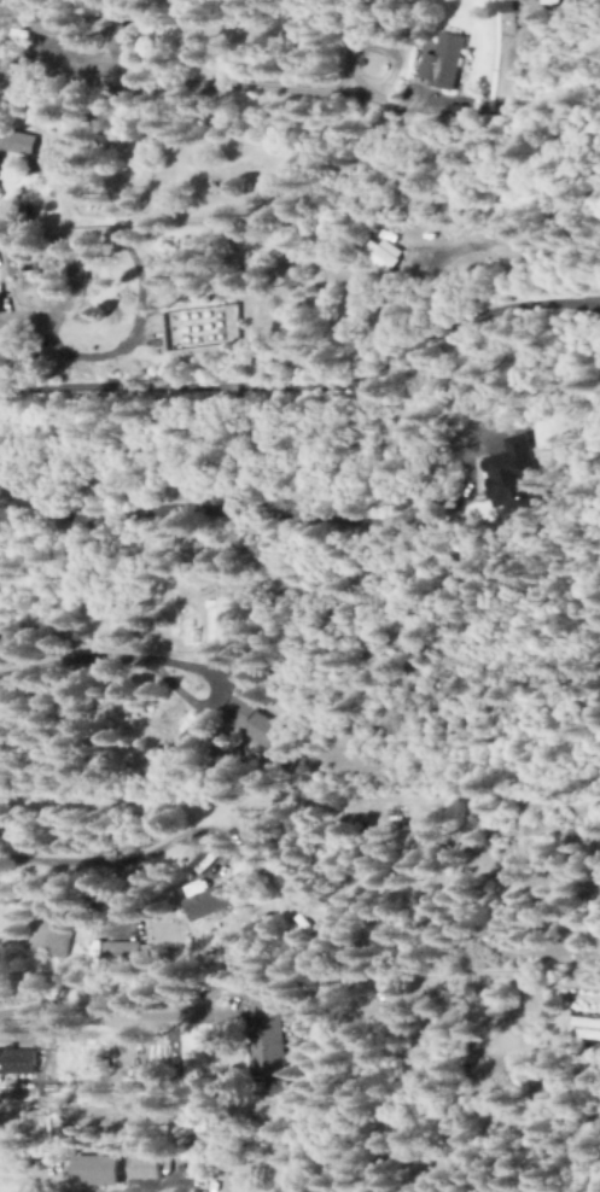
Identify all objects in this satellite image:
building: (53, 24)
building: (127, 39)
building: (18, 144)
building: (383, 255)
building: (1, 304)
building: (0, 352)
building: (509, 475)
building: (217, 623)
building: (252, 720)
building: (206, 900)
building: (57, 928)
building: (264, 1034)
building: (19, 1062)
building: (100, 1170)

